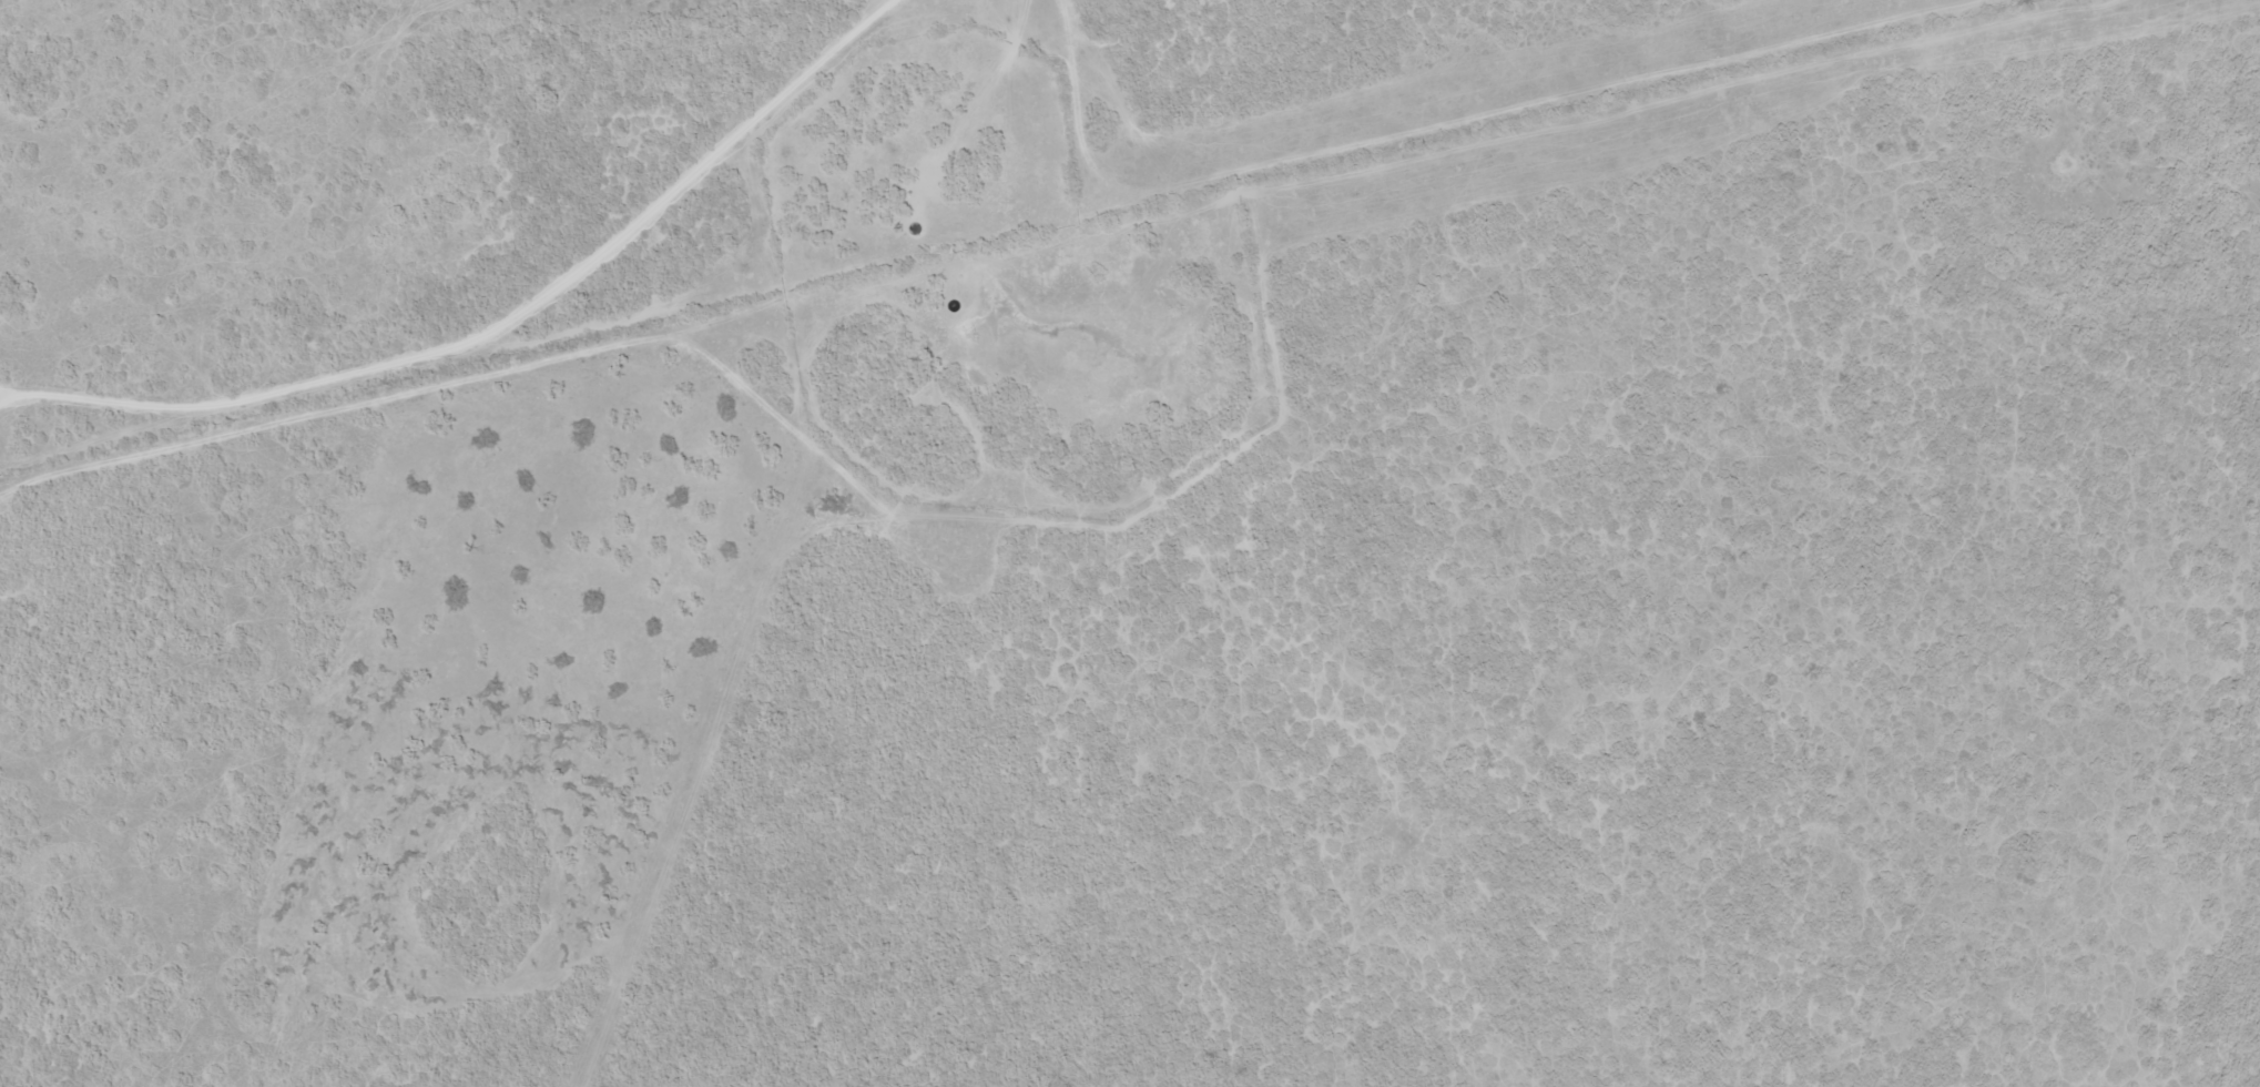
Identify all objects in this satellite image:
road: (1472, 120)
road: (465, 318)
road: (498, 447)

